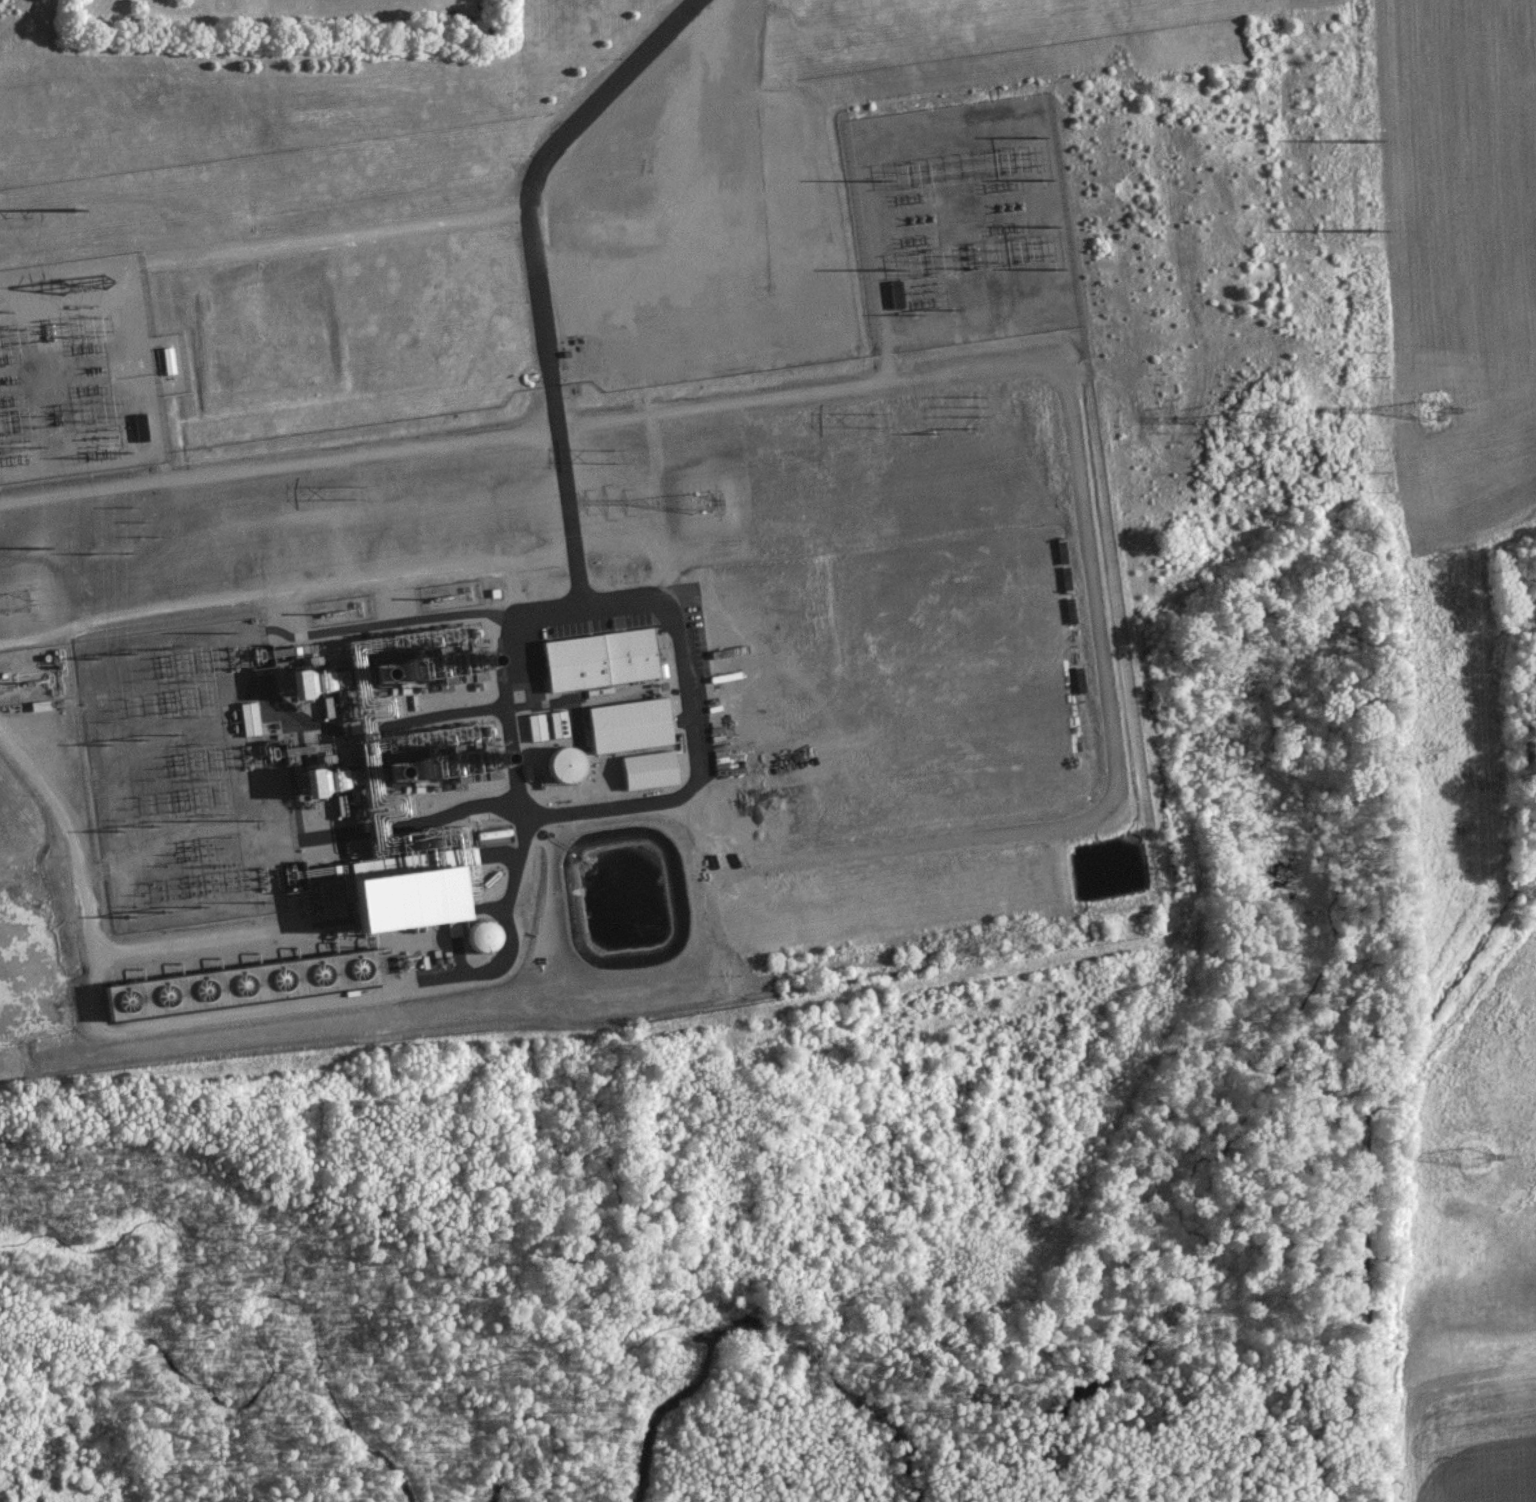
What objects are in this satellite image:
power tower: (1365, 143)
road: (537, 161)
power tower: (74, 209)
power substation: (967, 223)
power tower: (1371, 232)
power tower: (84, 284)
power substation: (84, 368)
power tower: (980, 407)
power tower: (1434, 410)
power tower: (1258, 420)
power tower: (880, 421)
power tower: (959, 431)
power tower: (617, 456)
power tower: (356, 491)
road: (567, 492)
power tower: (709, 503)
power tower: (148, 520)
power tower: (39, 548)
power tower: (116, 552)
power tower: (10, 601)
chimney: (495, 659)
chimney: (385, 673)
chimney: (508, 759)
power substation: (186, 773)
chimney: (398, 774)
building: (239, 986)
power tower: (1477, 1156)

